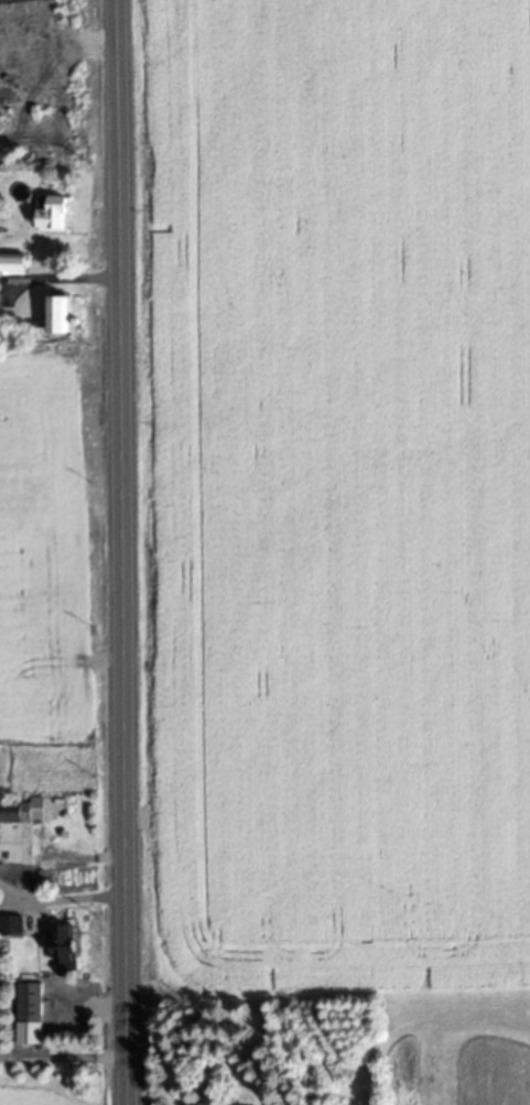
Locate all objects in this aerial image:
building: (50, 213)
building: (11, 266)
building: (61, 315)
road: (117, 552)
building: (21, 810)
road: (4, 891)
road: (64, 897)
road: (4, 900)
building: (9, 924)
building: (26, 1011)

